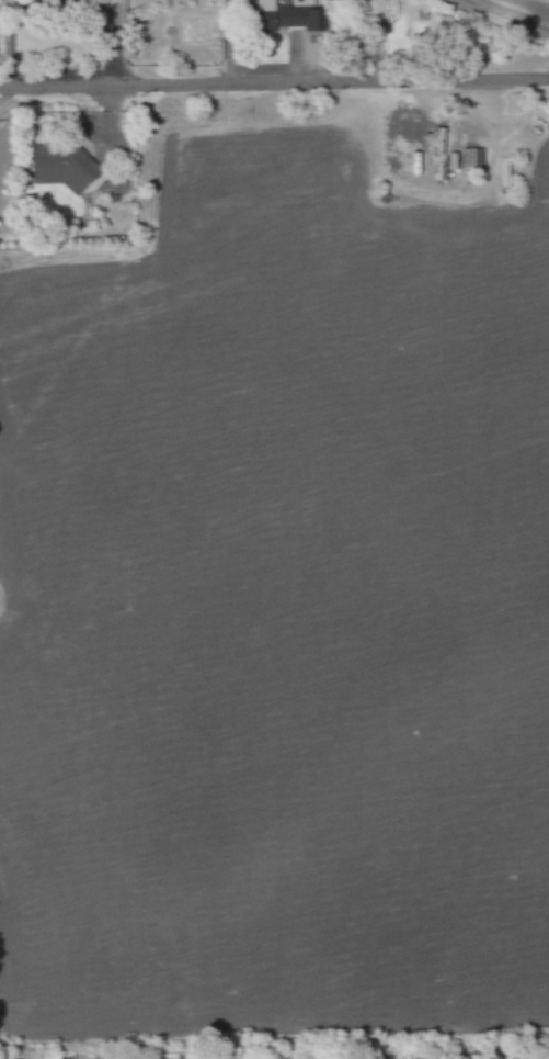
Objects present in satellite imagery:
building: (376, 9)
road: (514, 11)
building: (259, 15)
building: (297, 18)
road: (274, 81)
building: (469, 159)
building: (58, 167)

